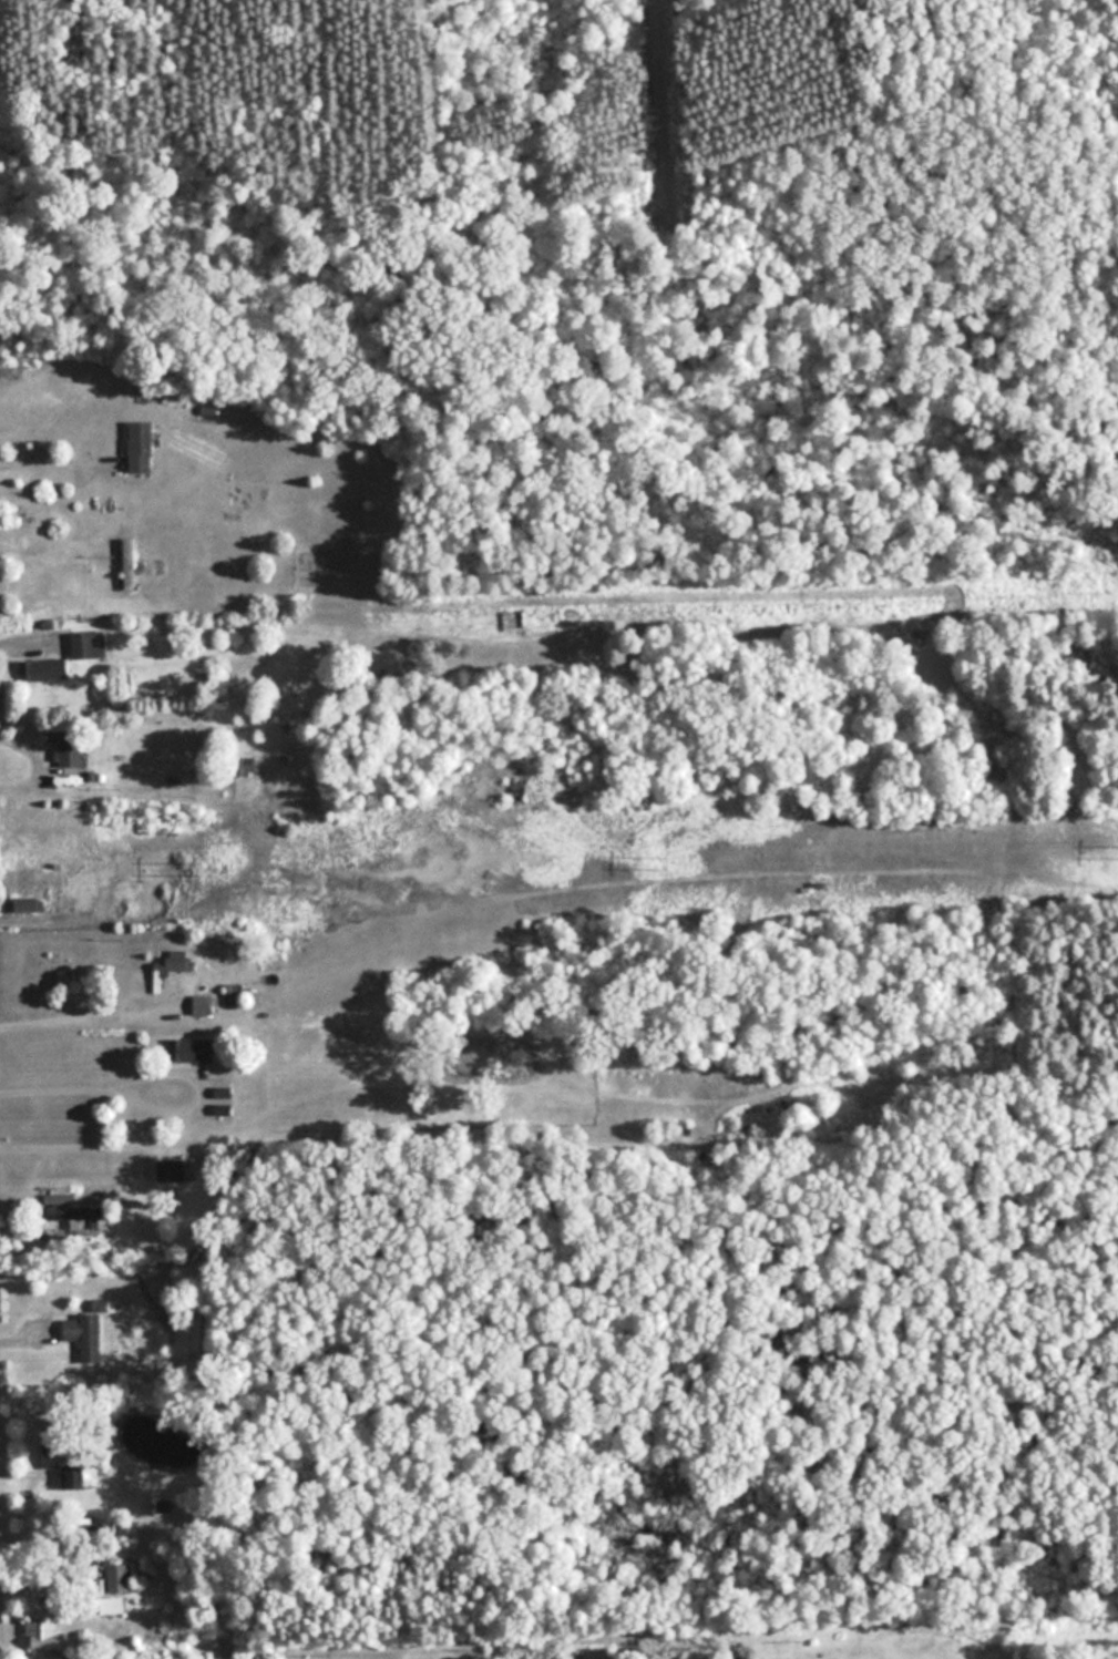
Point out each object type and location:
road: (240, 154)
park: (535, 262)
building: (142, 447)
road: (60, 450)
building: (130, 563)
building: (82, 644)
building: (42, 669)
building: (70, 747)
power tower: (666, 856)
power tower: (196, 870)
building: (29, 904)
building: (173, 966)
building: (204, 1005)
road: (80, 1016)
building: (192, 1049)
building: (172, 1170)
building: (73, 1212)
building: (85, 1335)
building: (50, 1455)
building: (80, 1477)
building: (117, 1578)
building: (113, 1605)
building: (44, 1636)

